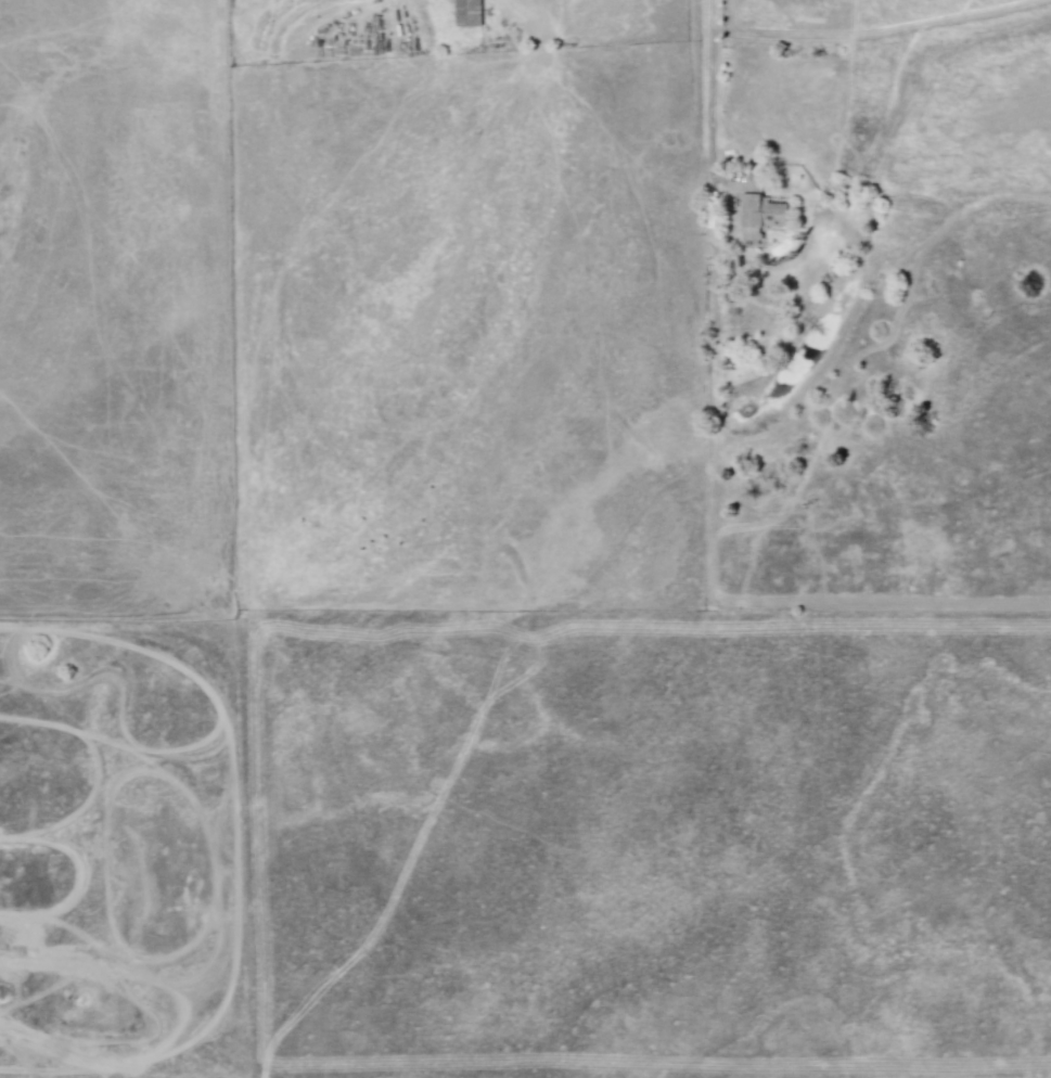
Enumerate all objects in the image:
building: (466, 12)
road: (706, 81)
building: (758, 211)

